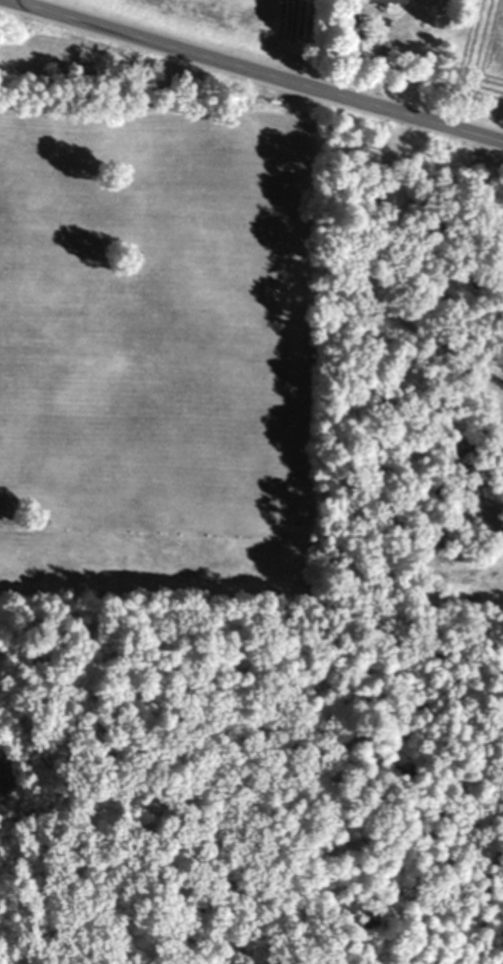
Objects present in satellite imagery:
building: (371, 2)
road: (251, 76)

